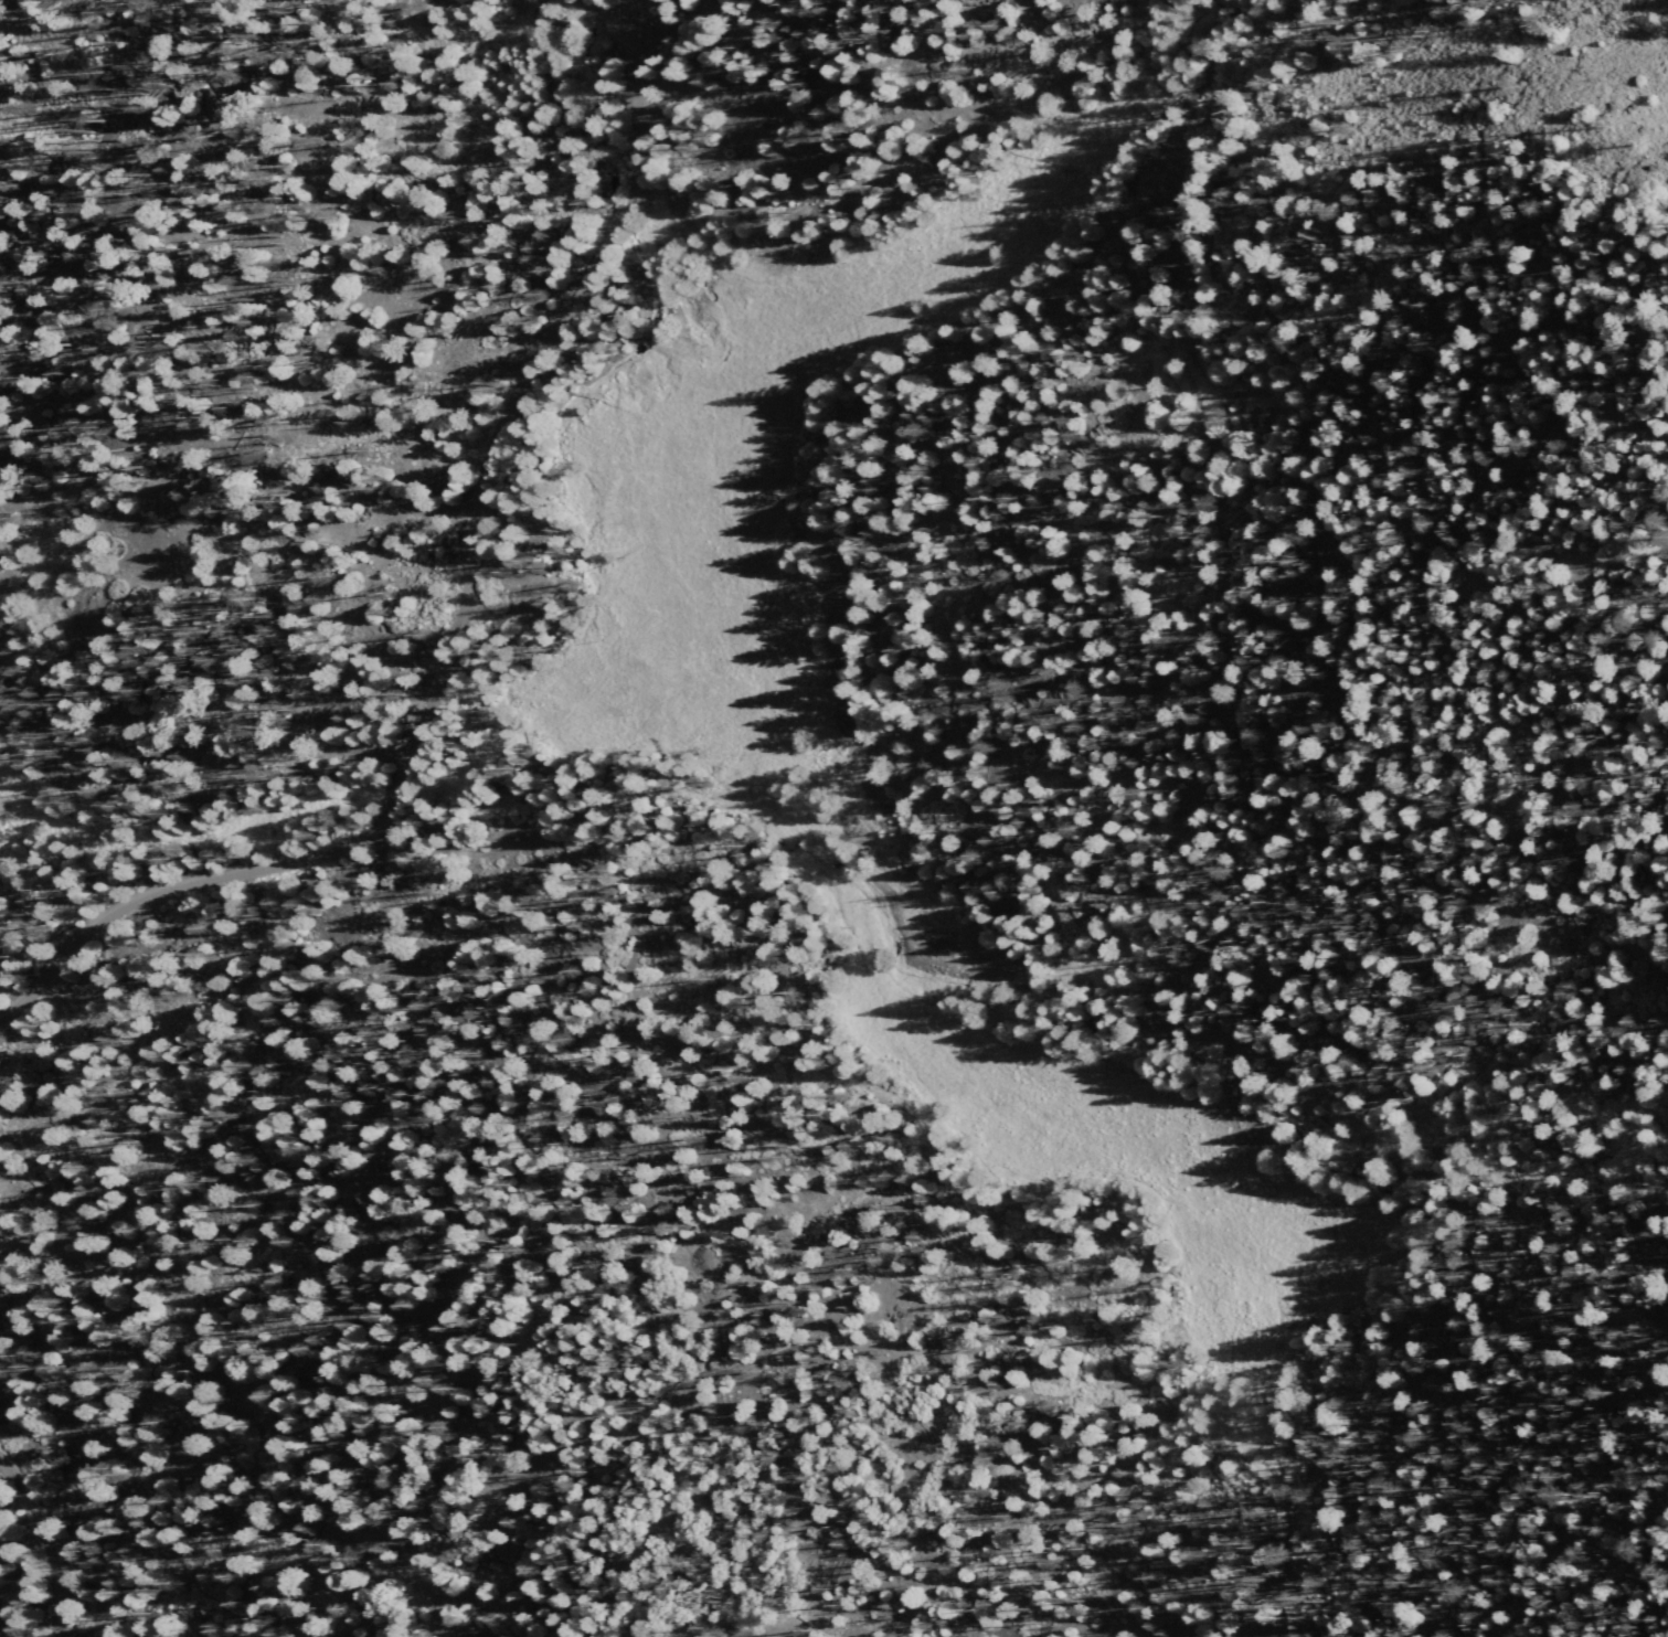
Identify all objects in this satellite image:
road: (451, 617)
road: (44, 1540)

